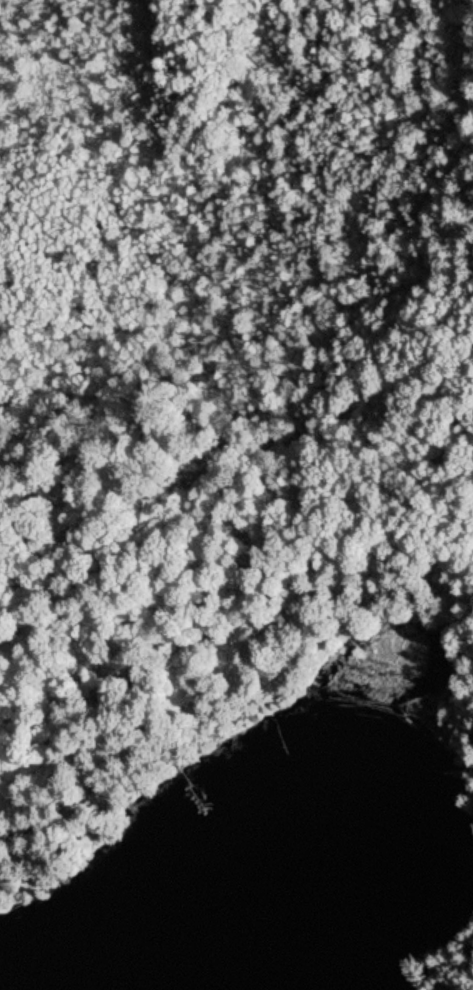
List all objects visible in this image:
road: (471, 711)

